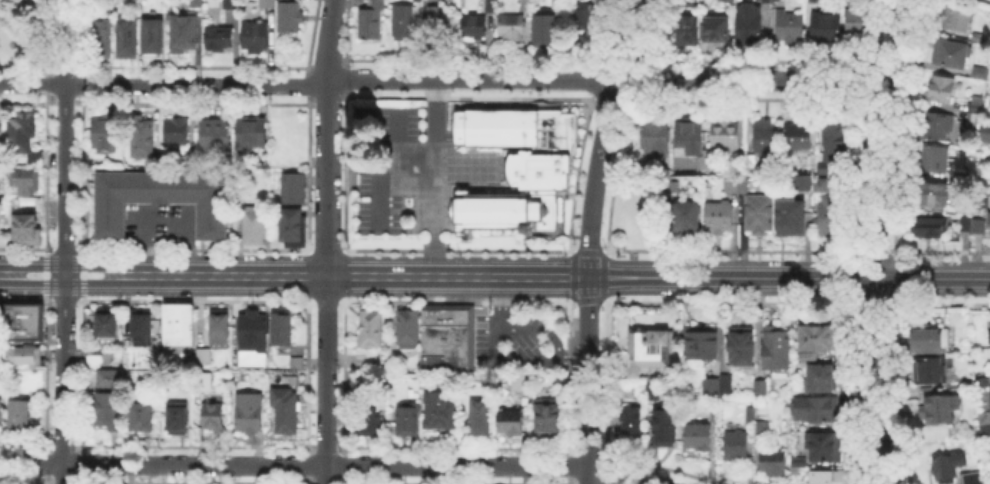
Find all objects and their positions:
building: (419, 0)
building: (723, 0)
building: (774, 0)
building: (267, 3)
building: (198, 4)
building: (230, 4)
building: (490, 5)
building: (525, 6)
building: (563, 6)
building: (584, 15)
building: (954, 15)
building: (290, 17)
building: (370, 20)
building: (746, 20)
building: (402, 21)
building: (786, 21)
building: (855, 21)
building: (437, 22)
building: (823, 23)
building: (474, 26)
building: (685, 26)
building: (511, 27)
building: (714, 27)
building: (546, 30)
park: (22, 31)
building: (183, 34)
building: (153, 36)
building: (254, 36)
building: (126, 37)
building: (219, 37)
building: (101, 39)
building: (978, 39)
road: (64, 42)
building: (950, 51)
building: (983, 62)
building: (978, 70)
road: (477, 79)
road: (32, 84)
building: (937, 87)
building: (973, 102)
building: (971, 115)
building: (934, 124)
parking lot: (387, 125)
building: (1, 129)
building: (984, 130)
building: (105, 132)
building: (20, 133)
building: (251, 133)
building: (653, 133)
building: (761, 133)
road: (604, 134)
building: (723, 134)
building: (176, 135)
building: (686, 135)
building: (833, 135)
building: (214, 137)
building: (795, 137)
building: (143, 141)
building: (932, 156)
building: (701, 157)
building: (745, 165)
building: (521, 166)
building: (825, 167)
road: (437, 170)
road: (380, 176)
building: (27, 181)
building: (801, 181)
building: (819, 182)
building: (728, 183)
building: (741, 183)
building: (296, 189)
building: (931, 191)
building: (162, 199)
parking lot: (376, 204)
building: (756, 211)
building: (716, 214)
building: (787, 214)
building: (682, 215)
building: (826, 217)
building: (963, 221)
parking lot: (161, 222)
building: (253, 223)
building: (976, 224)
building: (926, 225)
building: (293, 226)
building: (26, 228)
road: (326, 241)
road: (876, 241)
road: (187, 243)
road: (142, 244)
road: (62, 247)
road: (66, 265)
road: (44, 272)
road: (81, 272)
road: (561, 277)
traffic signals: (588, 277)
road: (65, 281)
road: (64, 284)
road: (62, 297)
road: (495, 318)
building: (23, 320)
building: (179, 324)
building: (1, 326)
building: (107, 327)
building: (141, 327)
building: (371, 328)
building: (280, 329)
building: (408, 329)
building: (219, 330)
building: (253, 330)
building: (989, 334)
building: (448, 337)
building: (820, 338)
building: (930, 339)
parking lot: (516, 342)
building: (702, 343)
building: (743, 345)
road: (555, 347)
building: (777, 350)
building: (652, 351)
building: (24, 356)
building: (203, 356)
road: (572, 358)
building: (94, 362)
building: (237, 362)
building: (296, 363)
building: (931, 371)
building: (109, 378)
building: (822, 378)
building: (520, 380)
road: (587, 380)
building: (204, 383)
building: (727, 383)
building: (712, 385)
building: (761, 387)
building: (652, 389)
building: (989, 390)
building: (816, 408)
building: (940, 408)
building: (108, 410)
building: (285, 410)
building: (1, 411)
building: (439, 411)
building: (249, 412)
building: (19, 415)
building: (751, 415)
building: (141, 416)
building: (480, 416)
building: (214, 417)
building: (548, 417)
building: (178, 418)
building: (632, 419)
building: (408, 420)
building: (370, 421)
building: (510, 422)
building: (985, 426)
building: (666, 427)
building: (762, 428)
building: (698, 437)
building: (736, 445)
building: (825, 446)
building: (800, 462)
building: (773, 463)
road: (328, 465)
building: (948, 467)
building: (831, 477)
building: (972, 478)
building: (989, 483)

